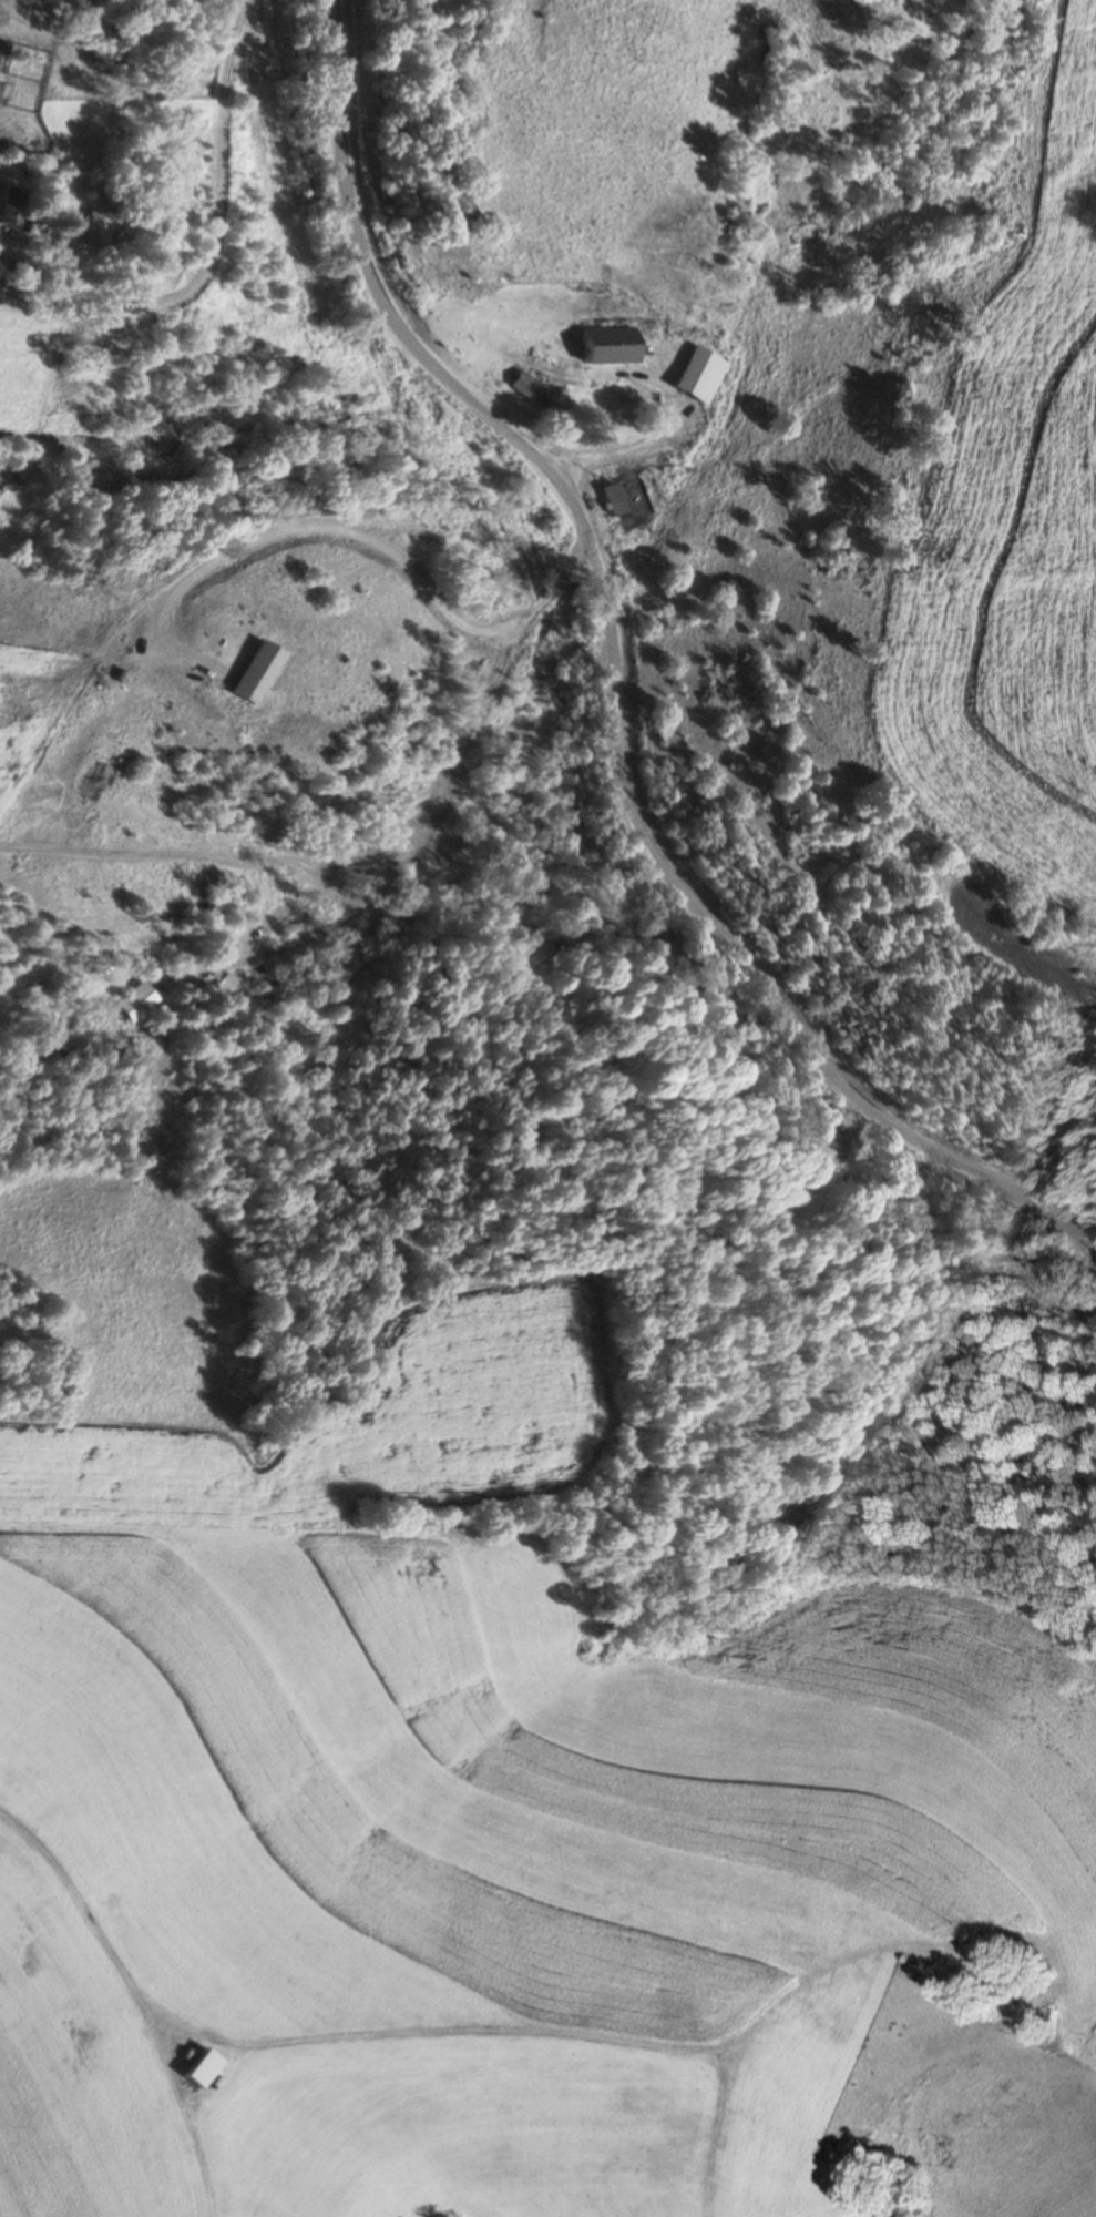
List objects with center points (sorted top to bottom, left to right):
road: (171, 204)
building: (93, 227)
building: (612, 345)
building: (687, 355)
building: (527, 385)
building: (625, 495)
road: (607, 685)
building: (132, 1000)
building: (202, 2068)

